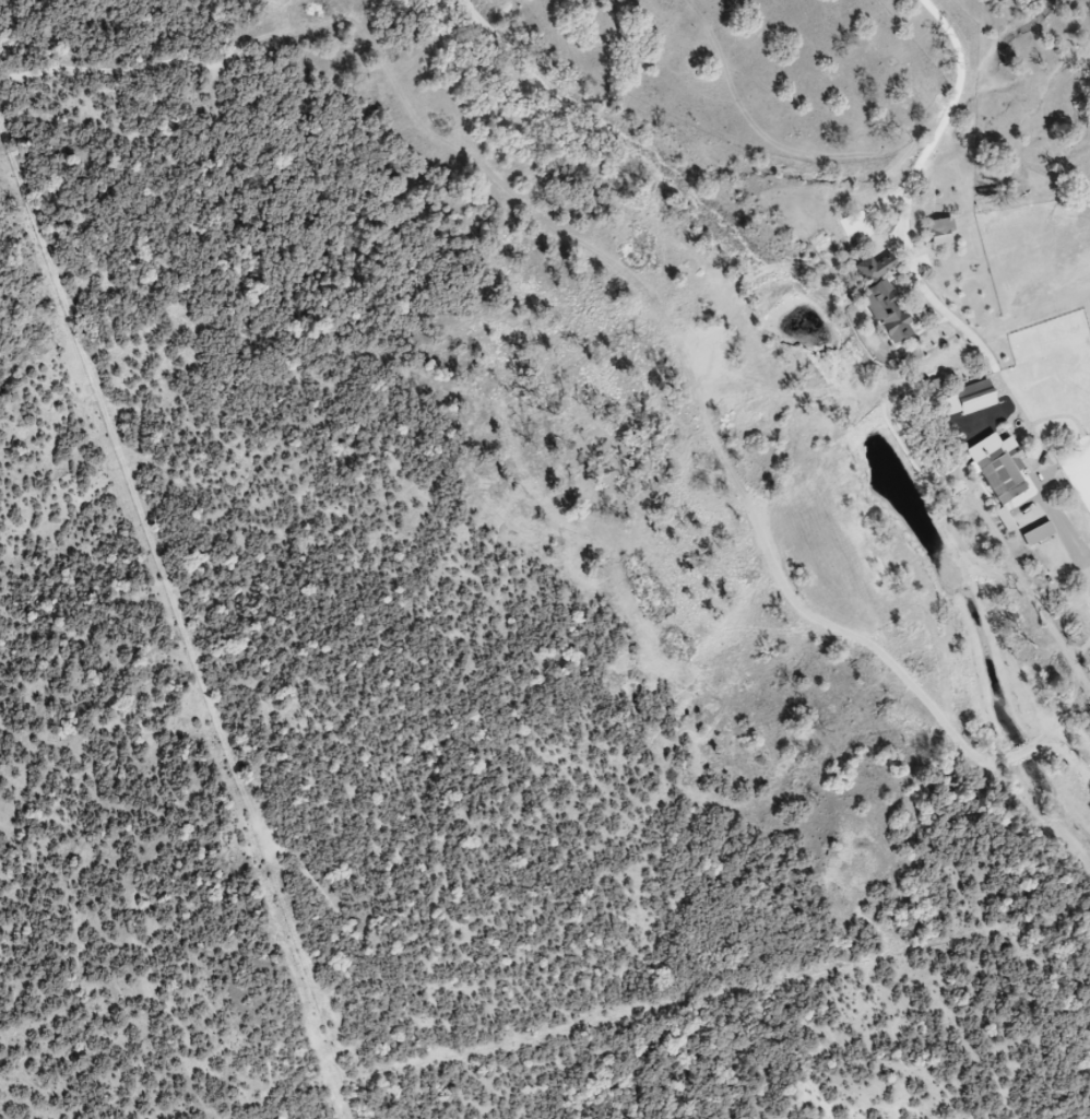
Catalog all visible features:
road: (870, 219)
building: (944, 232)
road: (913, 261)
building: (887, 297)
building: (978, 396)
road: (993, 419)
building: (1004, 469)
parking lot: (1080, 470)
road: (1054, 509)
building: (1041, 533)
road: (1083, 547)
road: (1081, 552)

